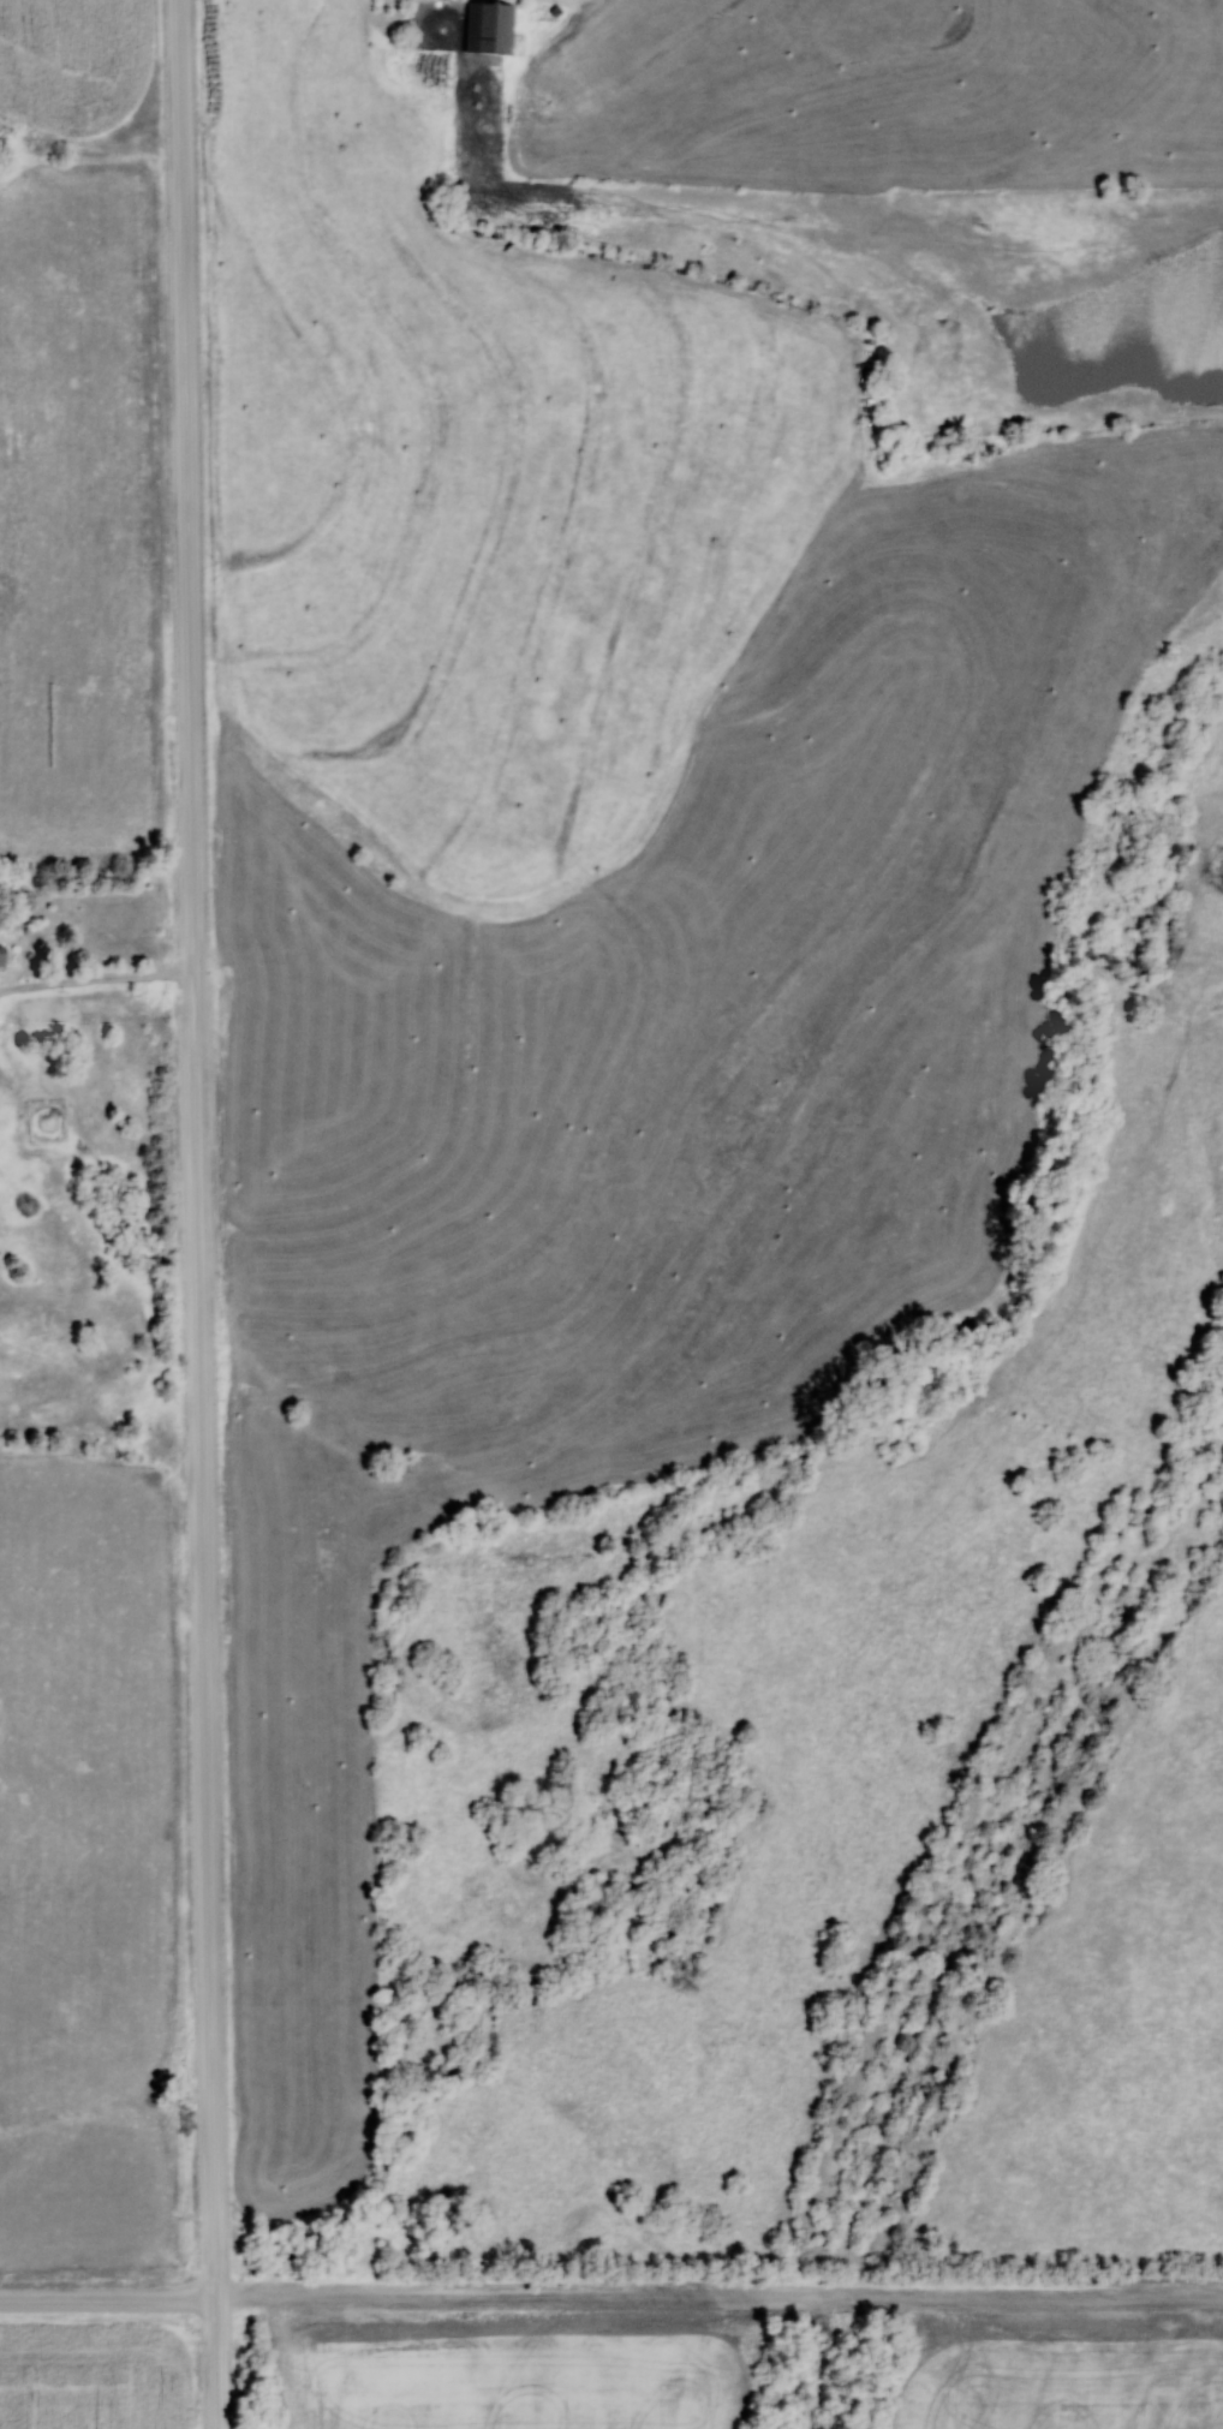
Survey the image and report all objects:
building: (488, 28)
building: (1, 955)
road: (196, 1213)
road: (610, 2300)

